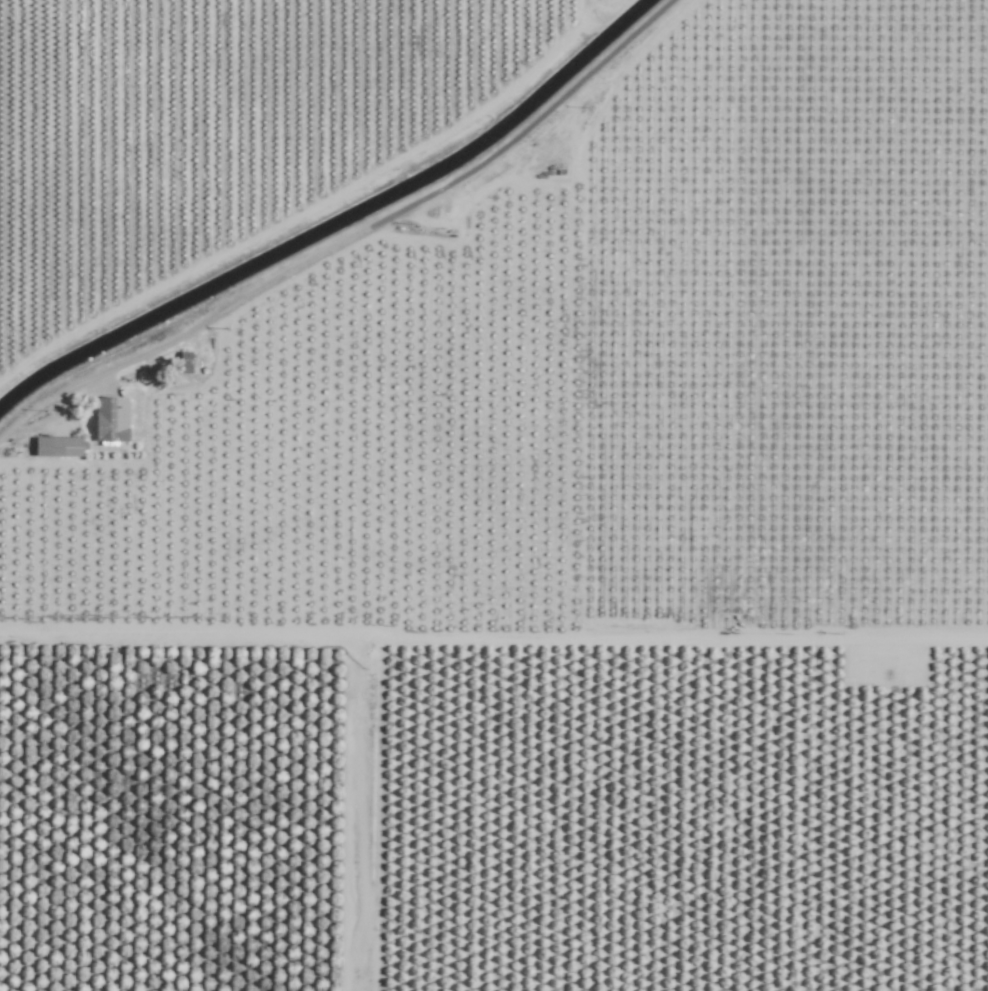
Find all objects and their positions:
road: (351, 242)
building: (111, 419)
building: (58, 447)
road: (493, 630)
road: (365, 810)

